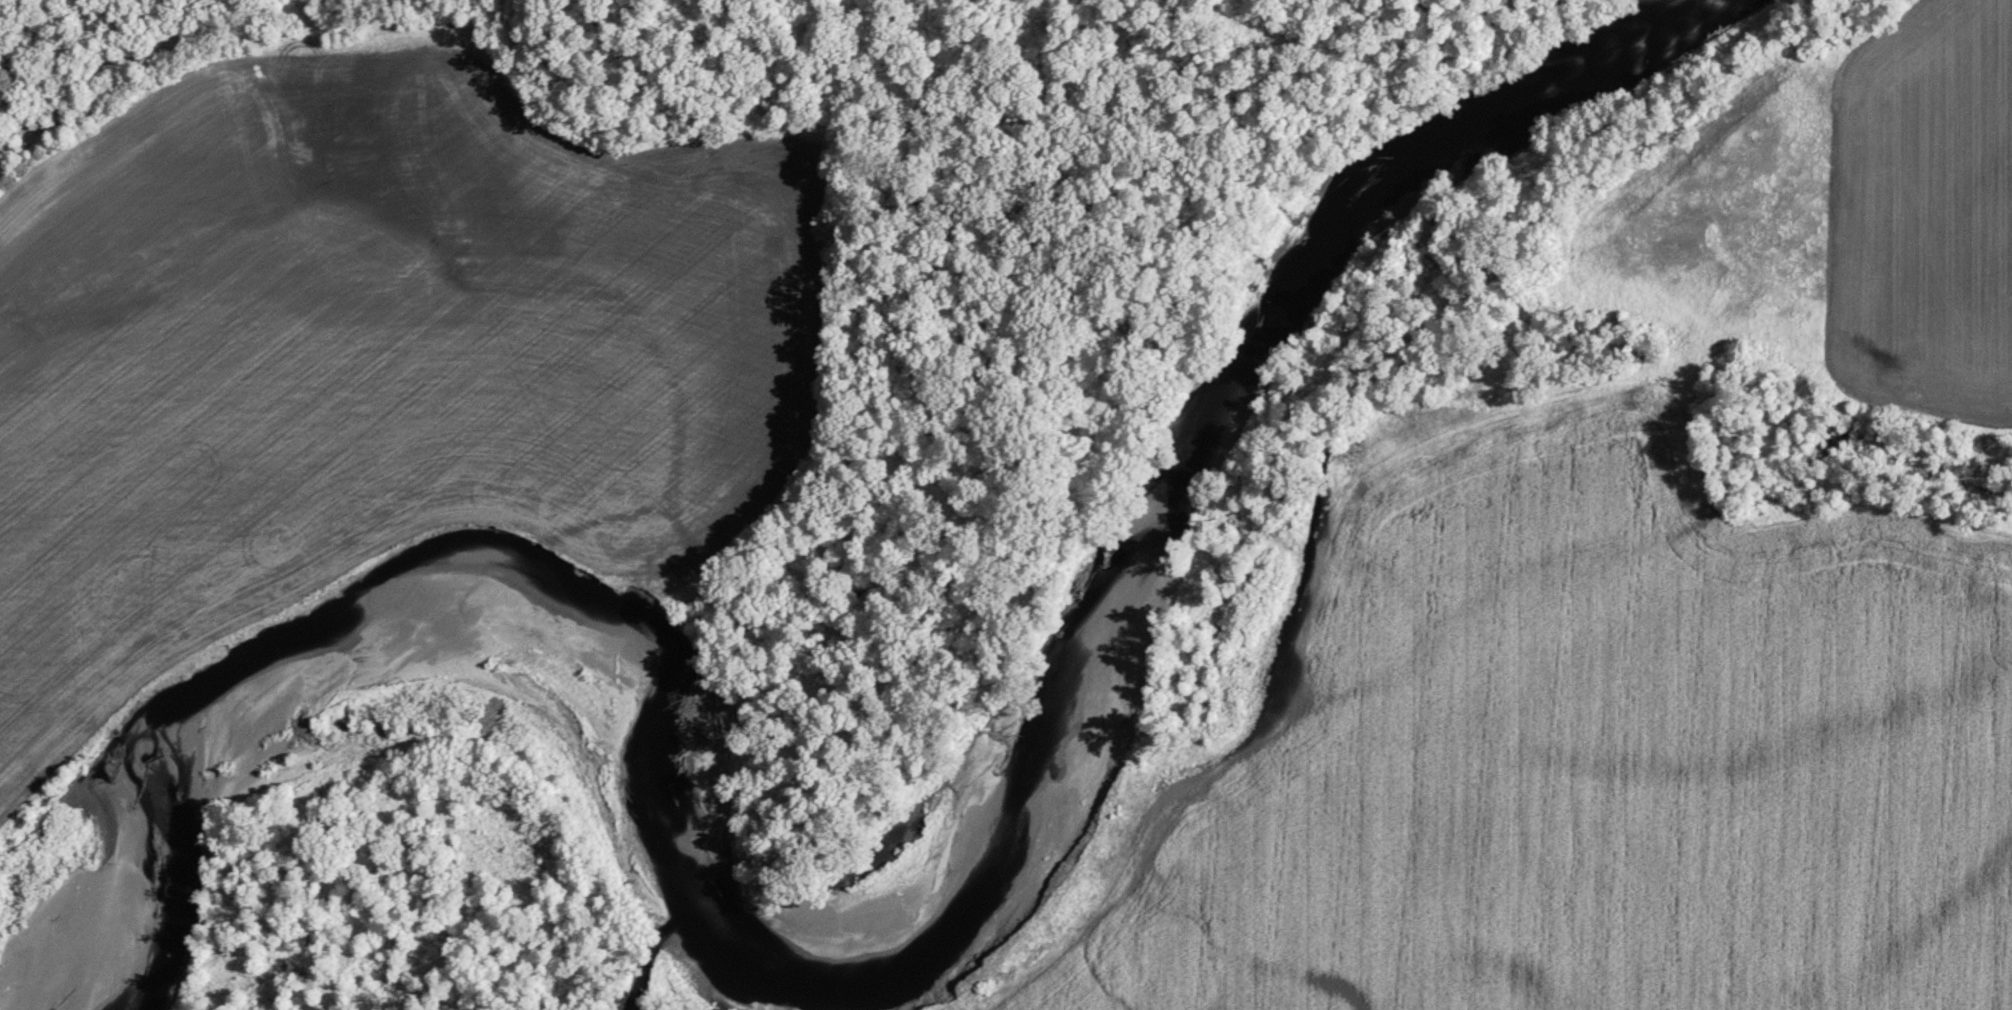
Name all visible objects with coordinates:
river: (980, 897)

